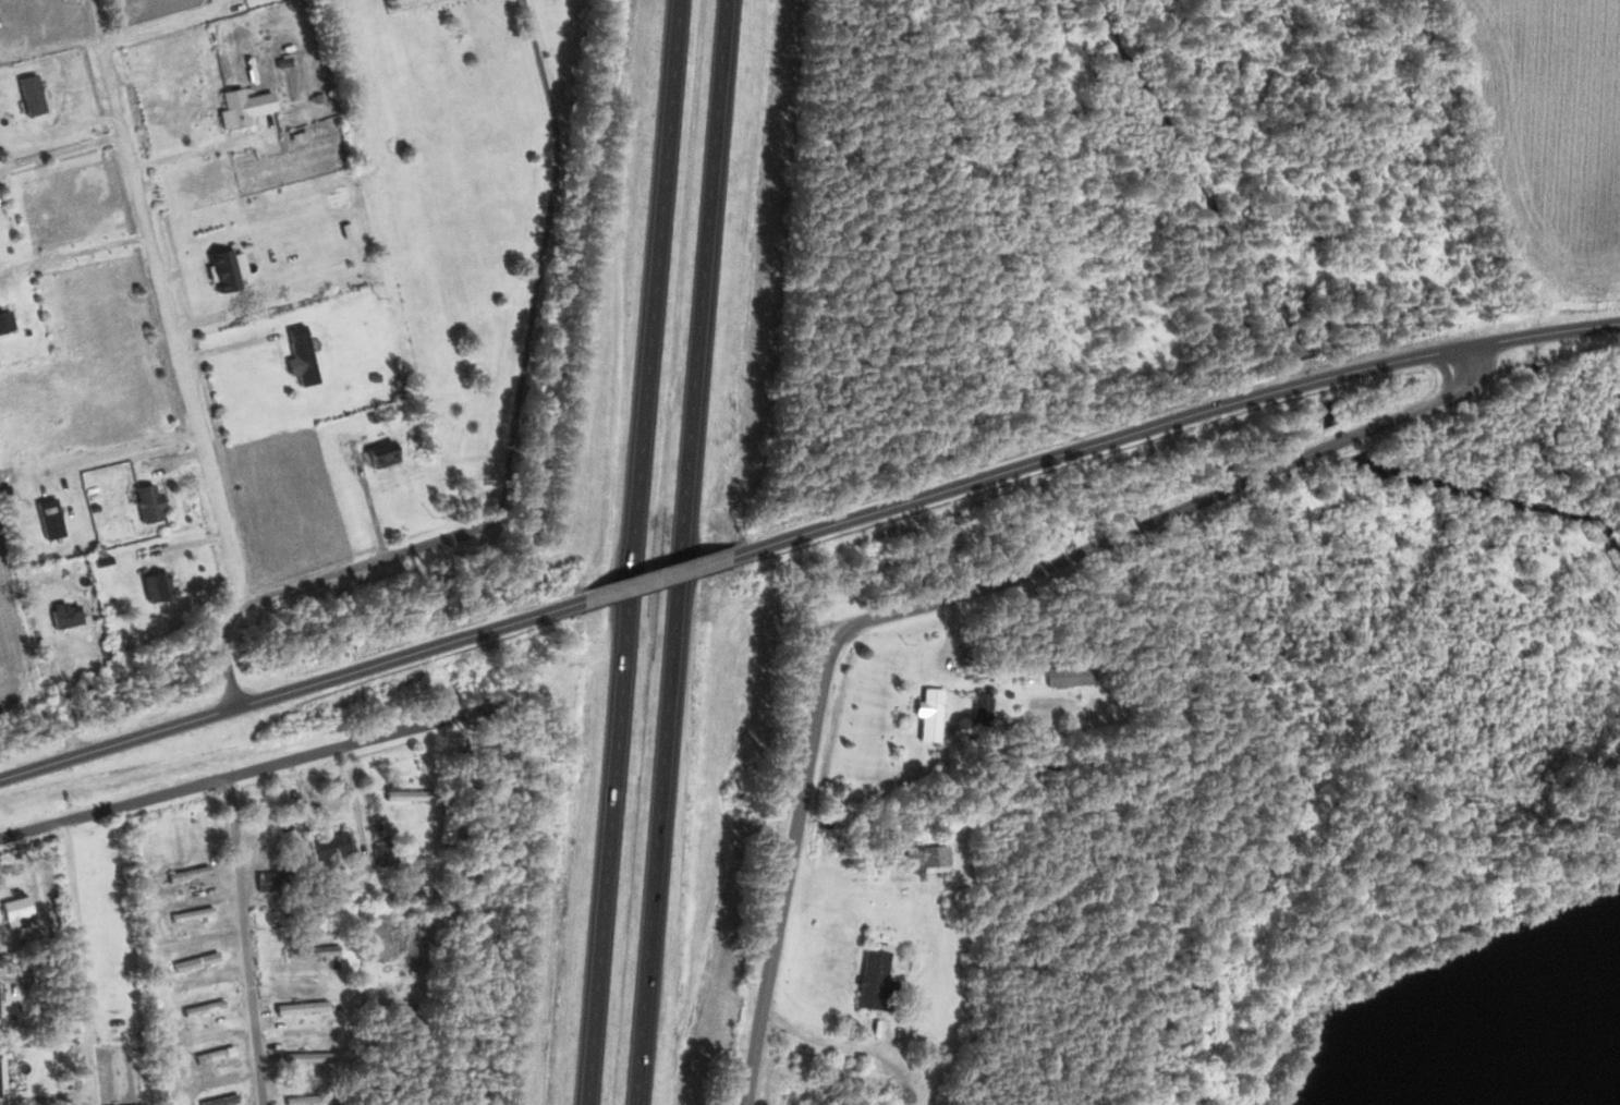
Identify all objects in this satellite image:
building: (241, 106)
road: (541, 262)
building: (221, 268)
building: (3, 317)
road: (165, 321)
building: (299, 355)
road: (1169, 420)
building: (379, 452)
building: (145, 501)
road: (633, 551)
road: (681, 551)
road: (656, 576)
road: (316, 580)
building: (155, 584)
road: (949, 596)
building: (63, 615)
building: (1068, 673)
road: (291, 688)
building: (978, 707)
building: (927, 713)
building: (405, 794)
road: (230, 833)
building: (328, 845)
building: (921, 857)
building: (186, 873)
building: (272, 881)
building: (15, 910)
building: (191, 914)
building: (310, 951)
building: (194, 961)
building: (872, 981)
building: (202, 1007)
building: (300, 1007)
road: (209, 1016)
building: (214, 1054)
building: (306, 1057)
building: (302, 1098)
building: (124, 1104)

